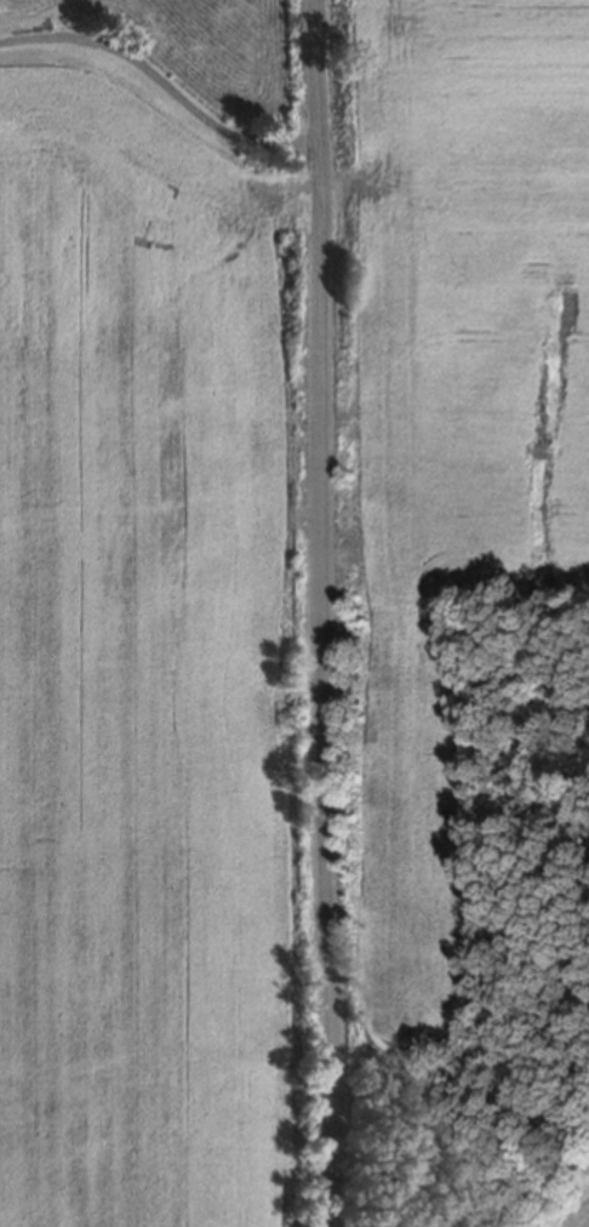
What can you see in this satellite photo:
road: (159, 80)
road: (318, 612)

